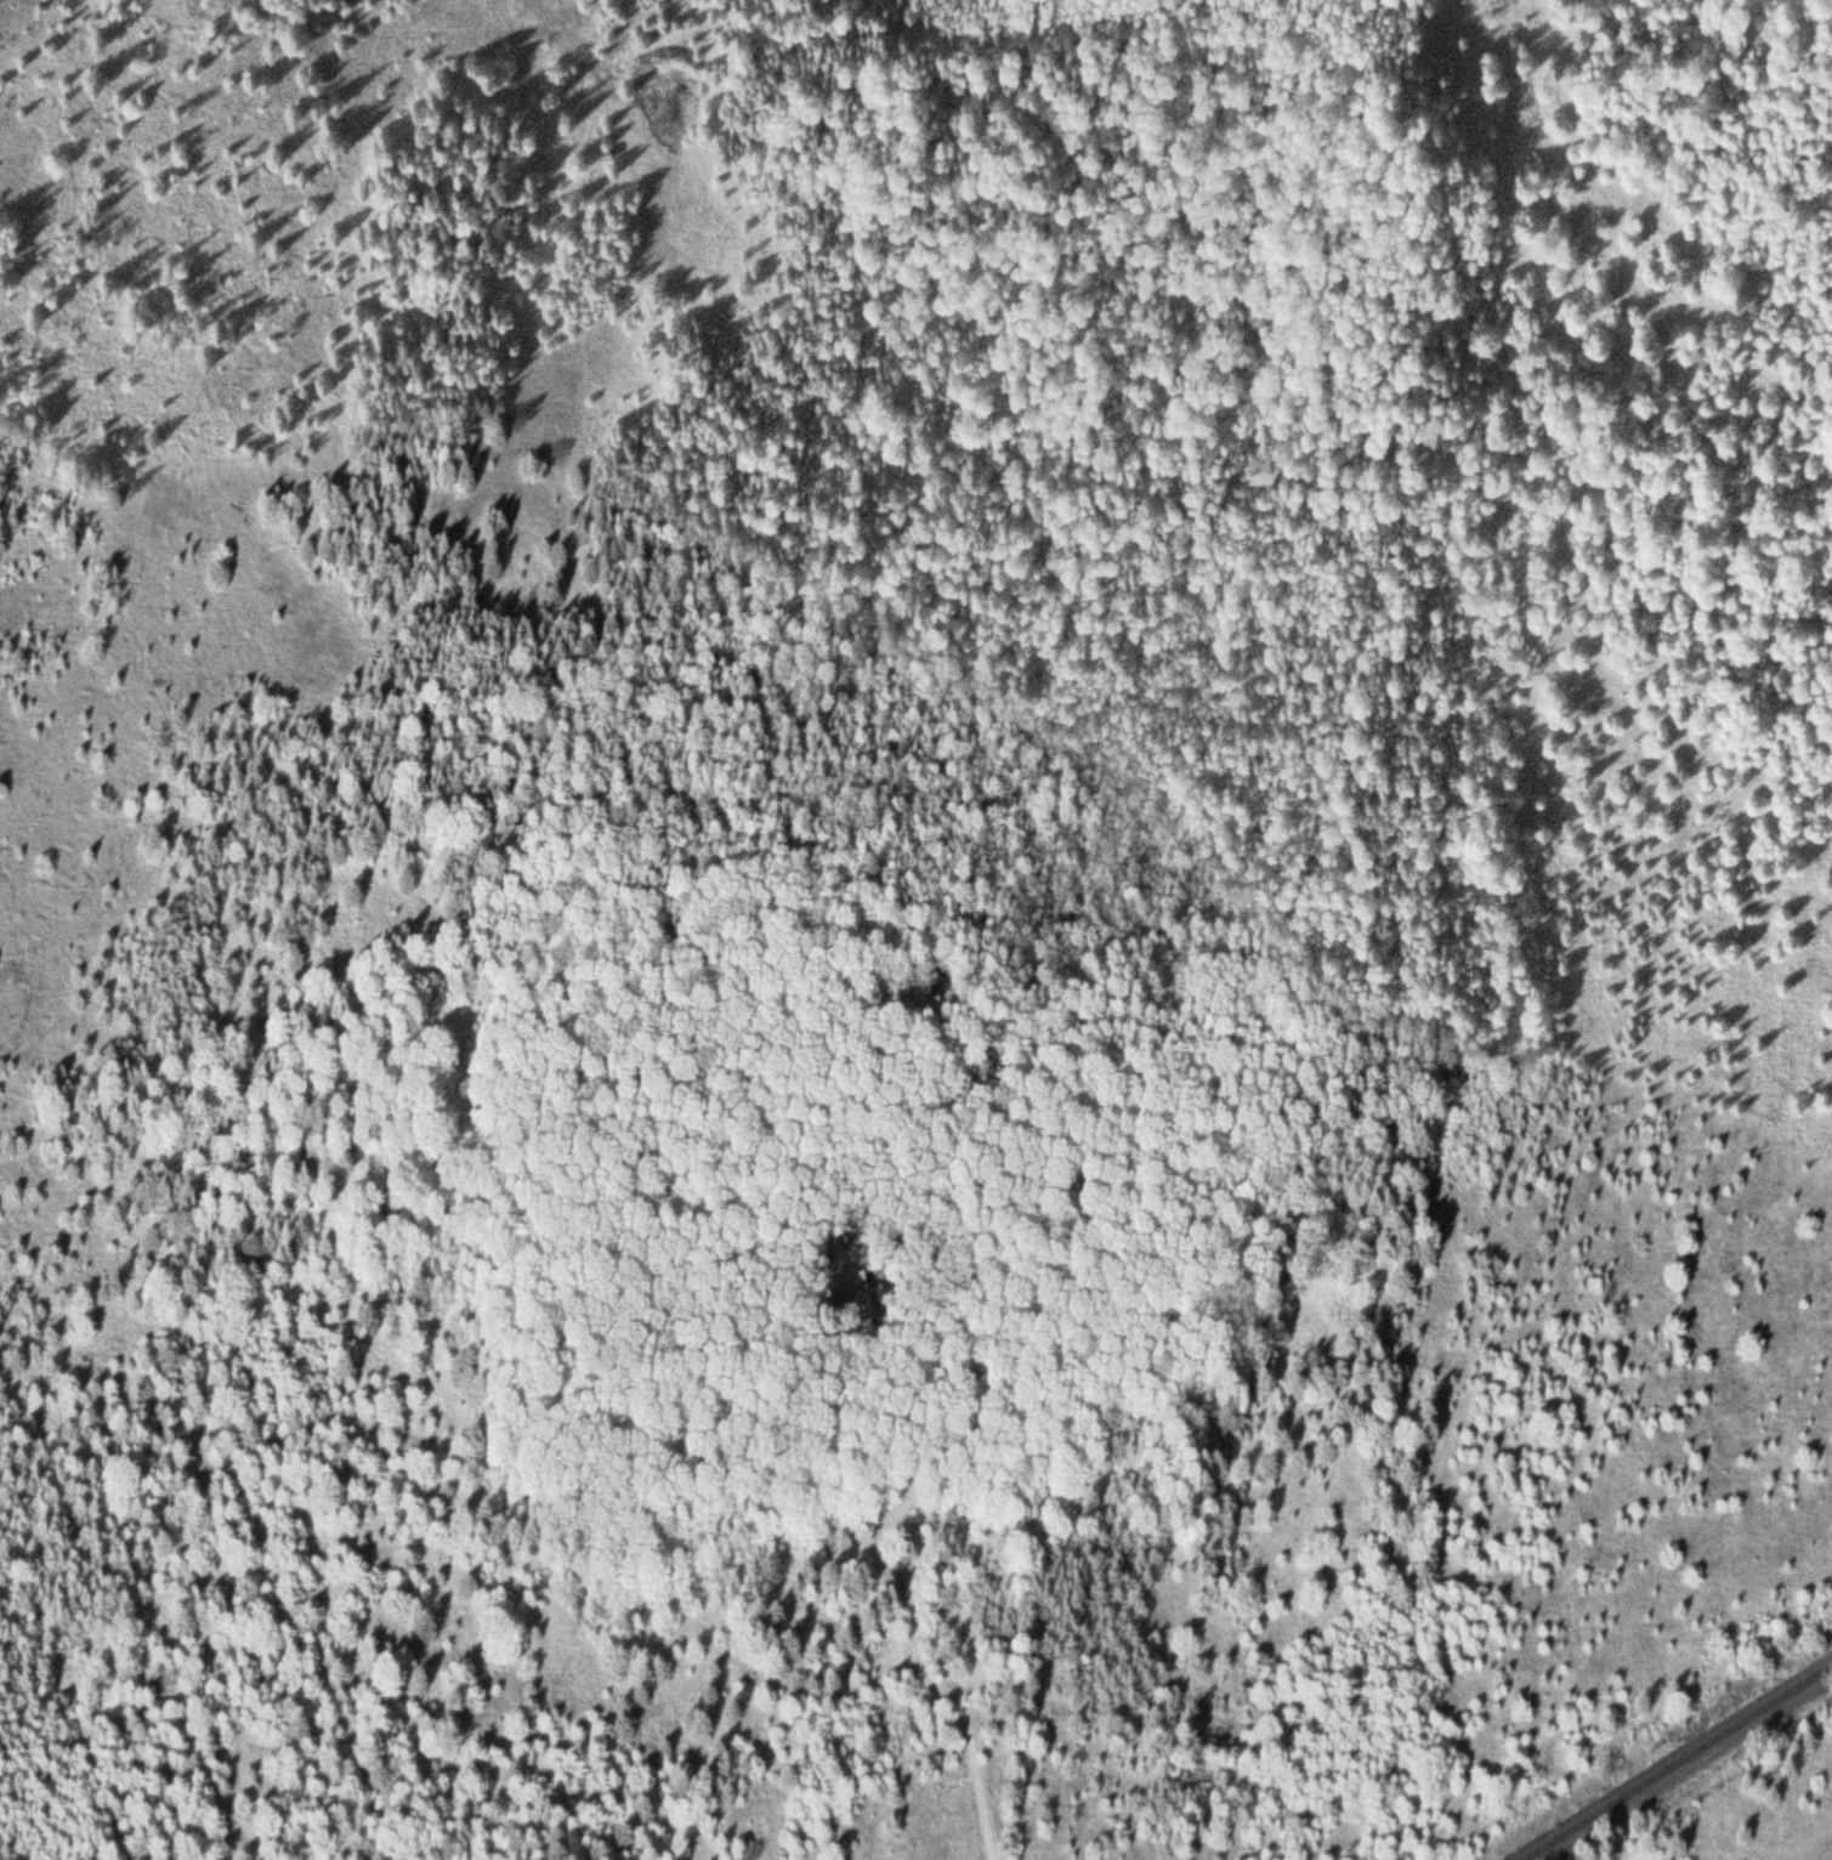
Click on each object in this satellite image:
railway: (1678, 1762)

